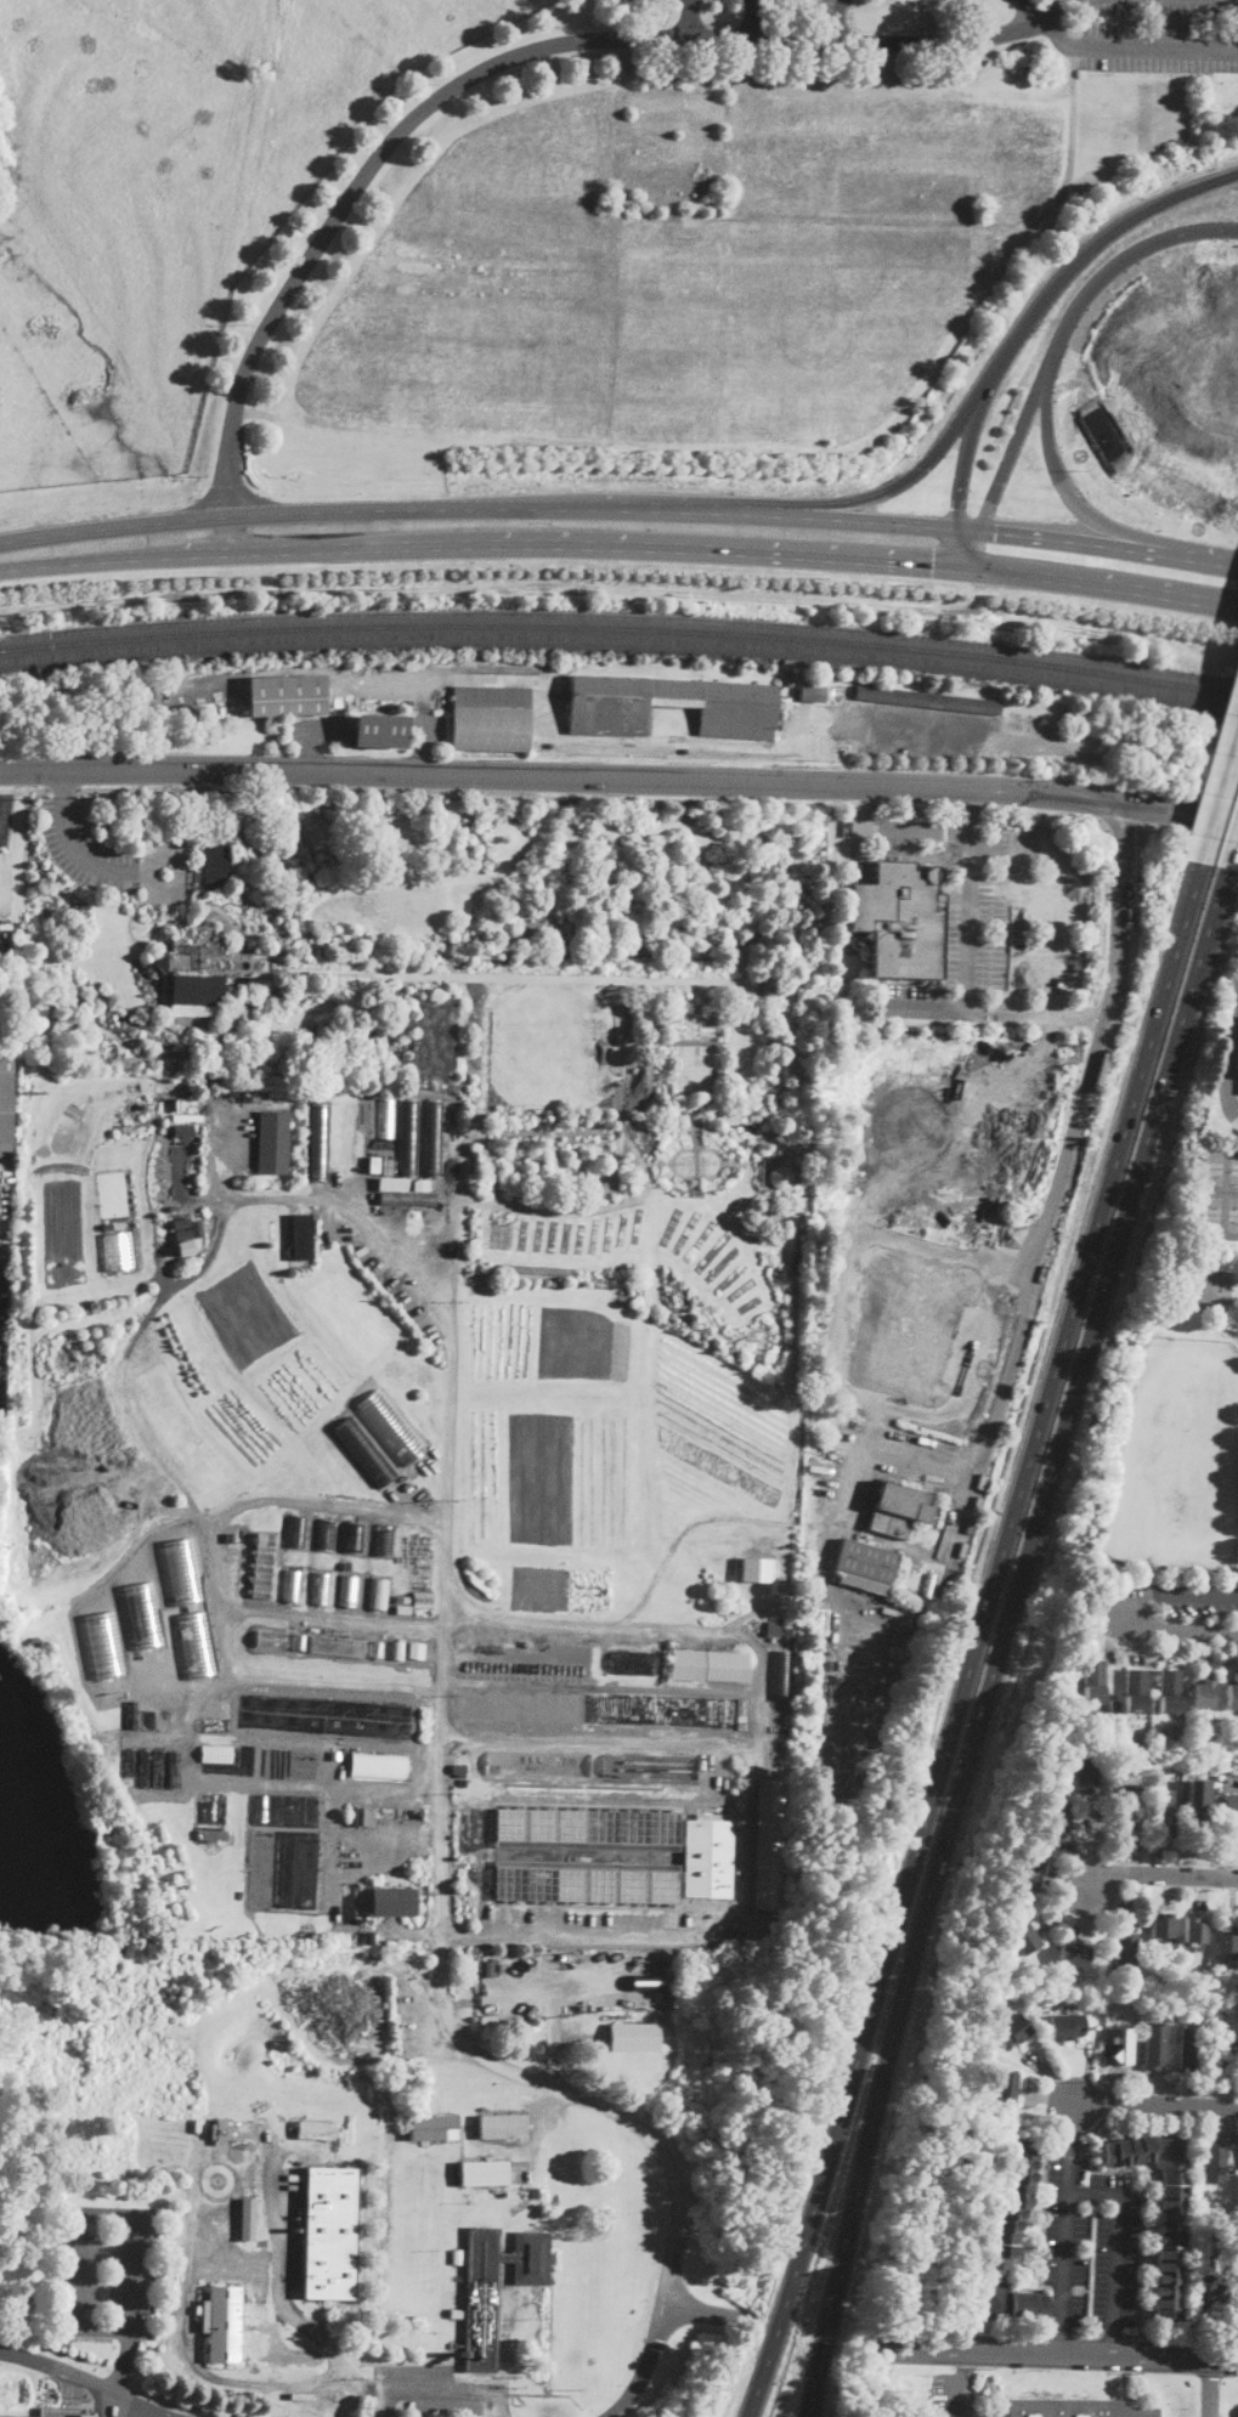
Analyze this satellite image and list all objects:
road: (1051, 13)
road: (691, 18)
road: (758, 19)
road: (1013, 29)
road: (795, 40)
road: (877, 44)
road: (1130, 47)
road: (372, 165)
crop: (163, 205)
road: (1048, 380)
road: (987, 383)
road: (1012, 448)
road: (963, 468)
traffic signals: (957, 508)
road: (487, 510)
traffic signals: (996, 533)
road: (1089, 543)
road: (475, 547)
road: (965, 550)
road: (1219, 566)
traffic signals: (934, 567)
road: (1095, 585)
railway: (620, 615)
railway: (620, 627)
railway: (620, 638)
building: (813, 694)
building: (886, 695)
building: (286, 696)
building: (957, 702)
building: (671, 706)
building: (491, 719)
road: (900, 729)
building: (378, 730)
road: (570, 741)
road: (620, 776)
road: (63, 779)
road: (63, 787)
road: (41, 788)
road: (463, 789)
road: (1220, 799)
road: (6, 804)
road: (858, 804)
road: (860, 804)
road: (916, 805)
road: (973, 806)
road: (973, 810)
road: (917, 830)
road: (203, 836)
road: (0, 839)
road: (77, 854)
parking lot: (92, 855)
building: (215, 855)
road: (1234, 859)
building: (4, 883)
road: (244, 890)
road: (160, 901)
building: (898, 919)
road: (324, 934)
road: (442, 955)
building: (207, 967)
road: (513, 975)
park: (465, 977)
building: (769, 983)
building: (426, 1042)
road: (1226, 1051)
road: (877, 1066)
building: (1237, 1075)
road: (481, 1085)
building: (233, 1092)
building: (255, 1094)
building: (7, 1104)
building: (386, 1119)
building: (409, 1137)
building: (434, 1138)
building: (320, 1142)
building: (273, 1143)
road: (601, 1151)
road: (521, 1154)
road: (560, 1159)
building: (373, 1165)
road: (543, 1166)
road: (514, 1170)
building: (779, 1176)
road: (601, 1177)
building: (398, 1181)
road: (524, 1183)
road: (547, 1190)
road: (606, 1190)
park: (1216, 1191)
building: (407, 1199)
road: (601, 1208)
building: (183, 1233)
building: (301, 1235)
building: (796, 1260)
park: (1203, 1287)
building: (906, 1324)
building: (407, 1353)
park: (1169, 1404)
building: (366, 1451)
building: (897, 1507)
building: (296, 1532)
building: (238, 1535)
building: (326, 1535)
building: (354, 1536)
building: (384, 1540)
road: (672, 1546)
building: (262, 1566)
building: (864, 1566)
building: (756, 1568)
building: (292, 1586)
building: (321, 1589)
building: (349, 1591)
building: (379, 1594)
building: (403, 1600)
building: (422, 1600)
building: (403, 1608)
road: (1112, 1611)
building: (142, 1613)
road: (337, 1617)
building: (819, 1619)
building: (774, 1625)
building: (791, 1632)
road: (1004, 1638)
building: (271, 1640)
road: (978, 1641)
building: (33, 1643)
building: (103, 1643)
building: (337, 1646)
building: (397, 1648)
building: (414, 1648)
building: (632, 1663)
building: (686, 1665)
building: (725, 1666)
building: (781, 1674)
road: (216, 1681)
building: (1093, 1681)
road: (334, 1682)
building: (1135, 1691)
building: (1169, 1691)
building: (1204, 1692)
building: (1232, 1693)
road: (761, 1694)
building: (1114, 1704)
building: (130, 1714)
building: (148, 1717)
road: (440, 1721)
building: (215, 1723)
building: (335, 1754)
building: (130, 1761)
building: (378, 1764)
building: (143, 1765)
building: (593, 1765)
building: (158, 1766)
building: (174, 1767)
building: (1225, 1767)
building: (1198, 1768)
building: (1087, 1770)
building: (463, 1774)
road: (384, 1785)
building: (1199, 1798)
building: (1130, 1806)
building: (1232, 1810)
building: (1058, 1811)
building: (1165, 1812)
building: (287, 1815)
building: (364, 1815)
building: (588, 1829)
building: (224, 1834)
building: (208, 1836)
building: (768, 1845)
building: (707, 1857)
building: (1033, 1869)
road: (1159, 1875)
building: (283, 1877)
building: (586, 1881)
building: (394, 1902)
building: (1160, 1925)
building: (1193, 1930)
road: (677, 1932)
building: (368, 1936)
building: (1023, 1937)
building: (1228, 1937)
building: (725, 1941)
building: (1124, 1949)
building: (1074, 1954)
building: (488, 1968)
building: (645, 1980)
building: (1191, 1980)
building: (1159, 1982)
building: (988, 1998)
building: (1033, 1999)
building: (1181, 2015)
building: (1169, 2016)
building: (1067, 2027)
building: (1012, 2031)
building: (633, 2036)
building: (1123, 2045)
building: (1154, 2045)
building: (1189, 2049)
building: (1226, 2064)
building: (1006, 2087)
road: (1155, 2104)
building: (502, 2127)
building: (316, 2128)
building: (433, 2128)
building: (220, 2132)
building: (1214, 2163)
building: (484, 2173)
building: (217, 2180)
building: (1163, 2212)
road: (115, 2214)
building: (248, 2219)
road: (1067, 2225)
building: (330, 2231)
parking lot: (1090, 2240)
building: (1008, 2245)
road: (1117, 2248)
building: (456, 2257)
building: (228, 2259)
road: (1142, 2263)
parking lot: (106, 2271)
building: (261, 2274)
building: (496, 2287)
building: (1217, 2291)
road: (288, 2305)
building: (456, 2314)
road: (661, 2322)
building: (222, 2323)
road: (980, 2331)
road: (1063, 2333)
road: (1090, 2333)
road: (1115, 2334)
road: (1158, 2336)
road: (1048, 2350)
road: (191, 2353)
building: (298, 2356)
road: (966, 2361)
road: (86, 2379)
road: (1210, 2387)
road: (448, 2391)
road: (955, 2393)
road: (112, 2404)
building: (1076, 2408)
building: (85, 2416)

